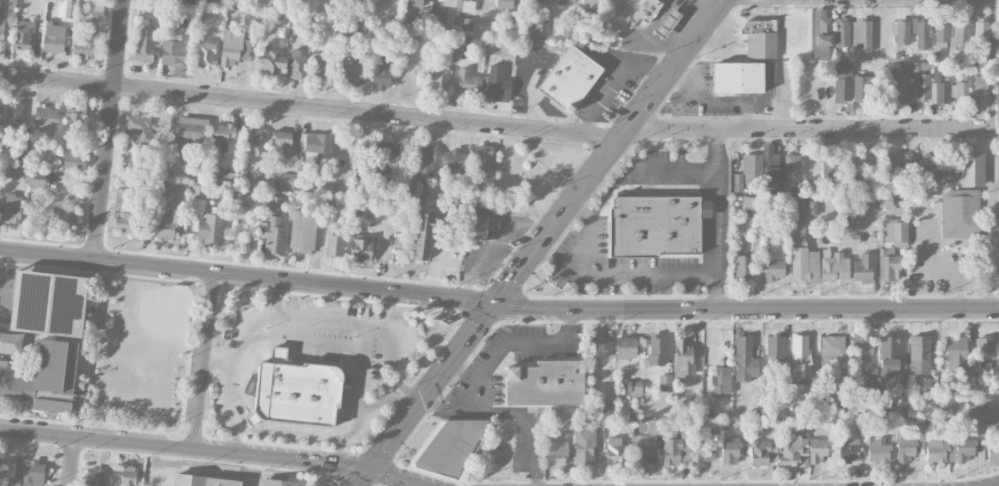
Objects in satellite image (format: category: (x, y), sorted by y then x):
building: (538, 0)
building: (565, 0)
building: (204, 1)
building: (234, 2)
building: (415, 3)
building: (452, 3)
building: (503, 3)
building: (589, 5)
building: (646, 9)
building: (96, 12)
building: (657, 16)
building: (7, 17)
building: (665, 22)
building: (466, 24)
building: (540, 29)
building: (568, 30)
building: (941, 31)
building: (900, 32)
building: (980, 32)
building: (841, 33)
building: (921, 33)
building: (958, 33)
building: (22, 34)
building: (822, 34)
building: (861, 36)
building: (54, 37)
building: (759, 38)
building: (85, 44)
building: (144, 45)
building: (233, 47)
building: (174, 53)
building: (205, 55)
building: (270, 60)
building: (296, 64)
building: (319, 65)
road: (994, 65)
building: (381, 73)
building: (350, 74)
building: (569, 78)
building: (738, 78)
building: (921, 79)
building: (439, 80)
building: (843, 80)
building: (468, 82)
building: (495, 84)
building: (902, 85)
building: (939, 85)
building: (862, 87)
building: (961, 88)
building: (980, 88)
road: (310, 106)
building: (13, 113)
building: (46, 117)
building: (76, 125)
building: (137, 129)
building: (0, 130)
road: (809, 130)
road: (110, 131)
building: (186, 133)
building: (220, 139)
building: (252, 140)
building: (315, 142)
building: (281, 144)
building: (388, 153)
building: (482, 156)
building: (71, 160)
building: (454, 161)
building: (889, 164)
building: (828, 166)
building: (861, 166)
building: (770, 167)
building: (907, 167)
building: (792, 168)
building: (972, 168)
building: (7, 169)
building: (929, 169)
road: (662, 170)
building: (748, 172)
building: (949, 172)
building: (360, 178)
building: (285, 180)
building: (419, 193)
building: (197, 198)
road: (602, 201)
building: (272, 202)
building: (749, 203)
building: (812, 207)
building: (12, 209)
road: (580, 209)
building: (959, 213)
building: (64, 216)
road: (719, 219)
building: (797, 221)
building: (124, 223)
building: (164, 225)
building: (655, 225)
building: (480, 226)
building: (209, 228)
building: (303, 230)
building: (894, 231)
building: (272, 235)
road: (991, 235)
building: (422, 236)
building: (334, 242)
road: (541, 243)
building: (360, 248)
building: (804, 266)
building: (888, 266)
building: (833, 267)
building: (742, 268)
building: (862, 268)
building: (773, 270)
road: (627, 271)
traffic signals: (495, 306)
road: (498, 306)
road: (365, 321)
road: (247, 331)
building: (46, 338)
building: (10, 343)
building: (597, 345)
building: (774, 345)
building: (832, 346)
road: (513, 347)
building: (625, 347)
building: (984, 347)
building: (657, 350)
road: (398, 352)
building: (860, 352)
building: (919, 354)
building: (955, 354)
building: (888, 355)
building: (800, 356)
building: (682, 358)
road: (202, 359)
building: (744, 359)
building: (721, 380)
building: (665, 382)
building: (901, 382)
building: (545, 383)
building: (923, 384)
building: (871, 386)
building: (633, 387)
building: (294, 391)
building: (948, 399)
building: (998, 405)
building: (812, 410)
road: (511, 413)
building: (991, 426)
building: (800, 427)
road: (304, 432)
building: (910, 442)
building: (646, 444)
building: (584, 446)
building: (453, 447)
road: (211, 448)
road: (339, 449)
building: (936, 449)
building: (963, 449)
building: (730, 450)
building: (848, 450)
building: (877, 450)
building: (616, 451)
building: (673, 451)
building: (702, 451)
building: (802, 451)
building: (762, 452)
building: (993, 452)
building: (556, 453)
road: (73, 461)
building: (33, 473)
building: (8, 474)
building: (127, 476)
building: (94, 477)
building: (201, 481)
building: (277, 482)

